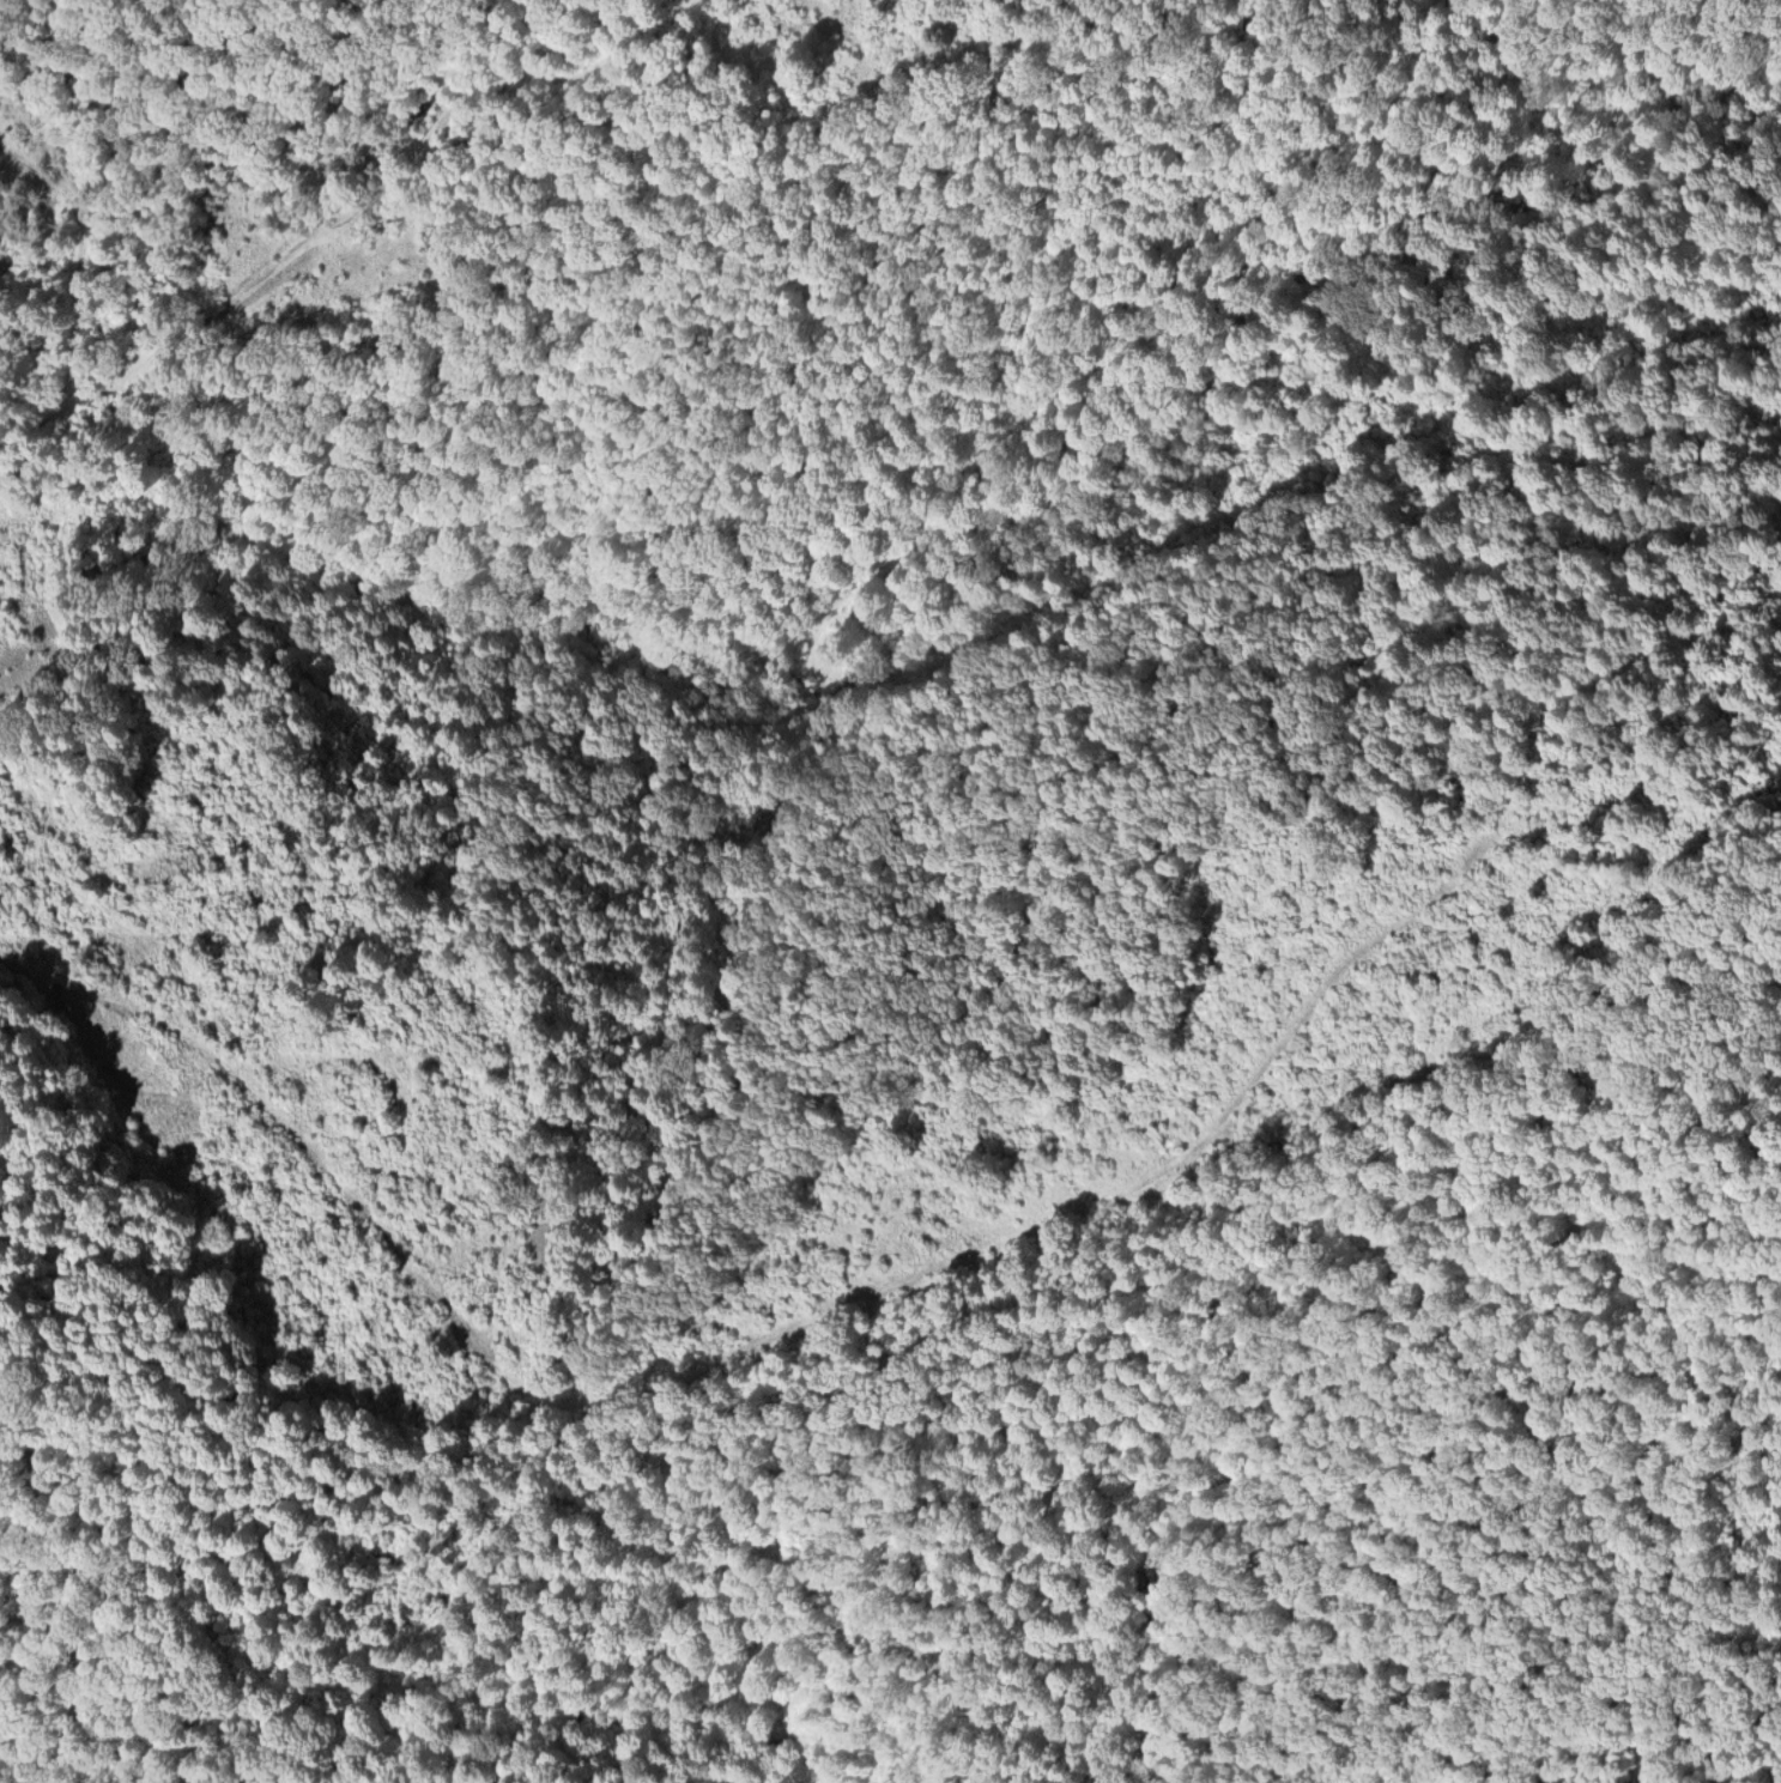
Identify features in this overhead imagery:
road: (369, 190)
road: (78, 311)
road: (923, 1267)

